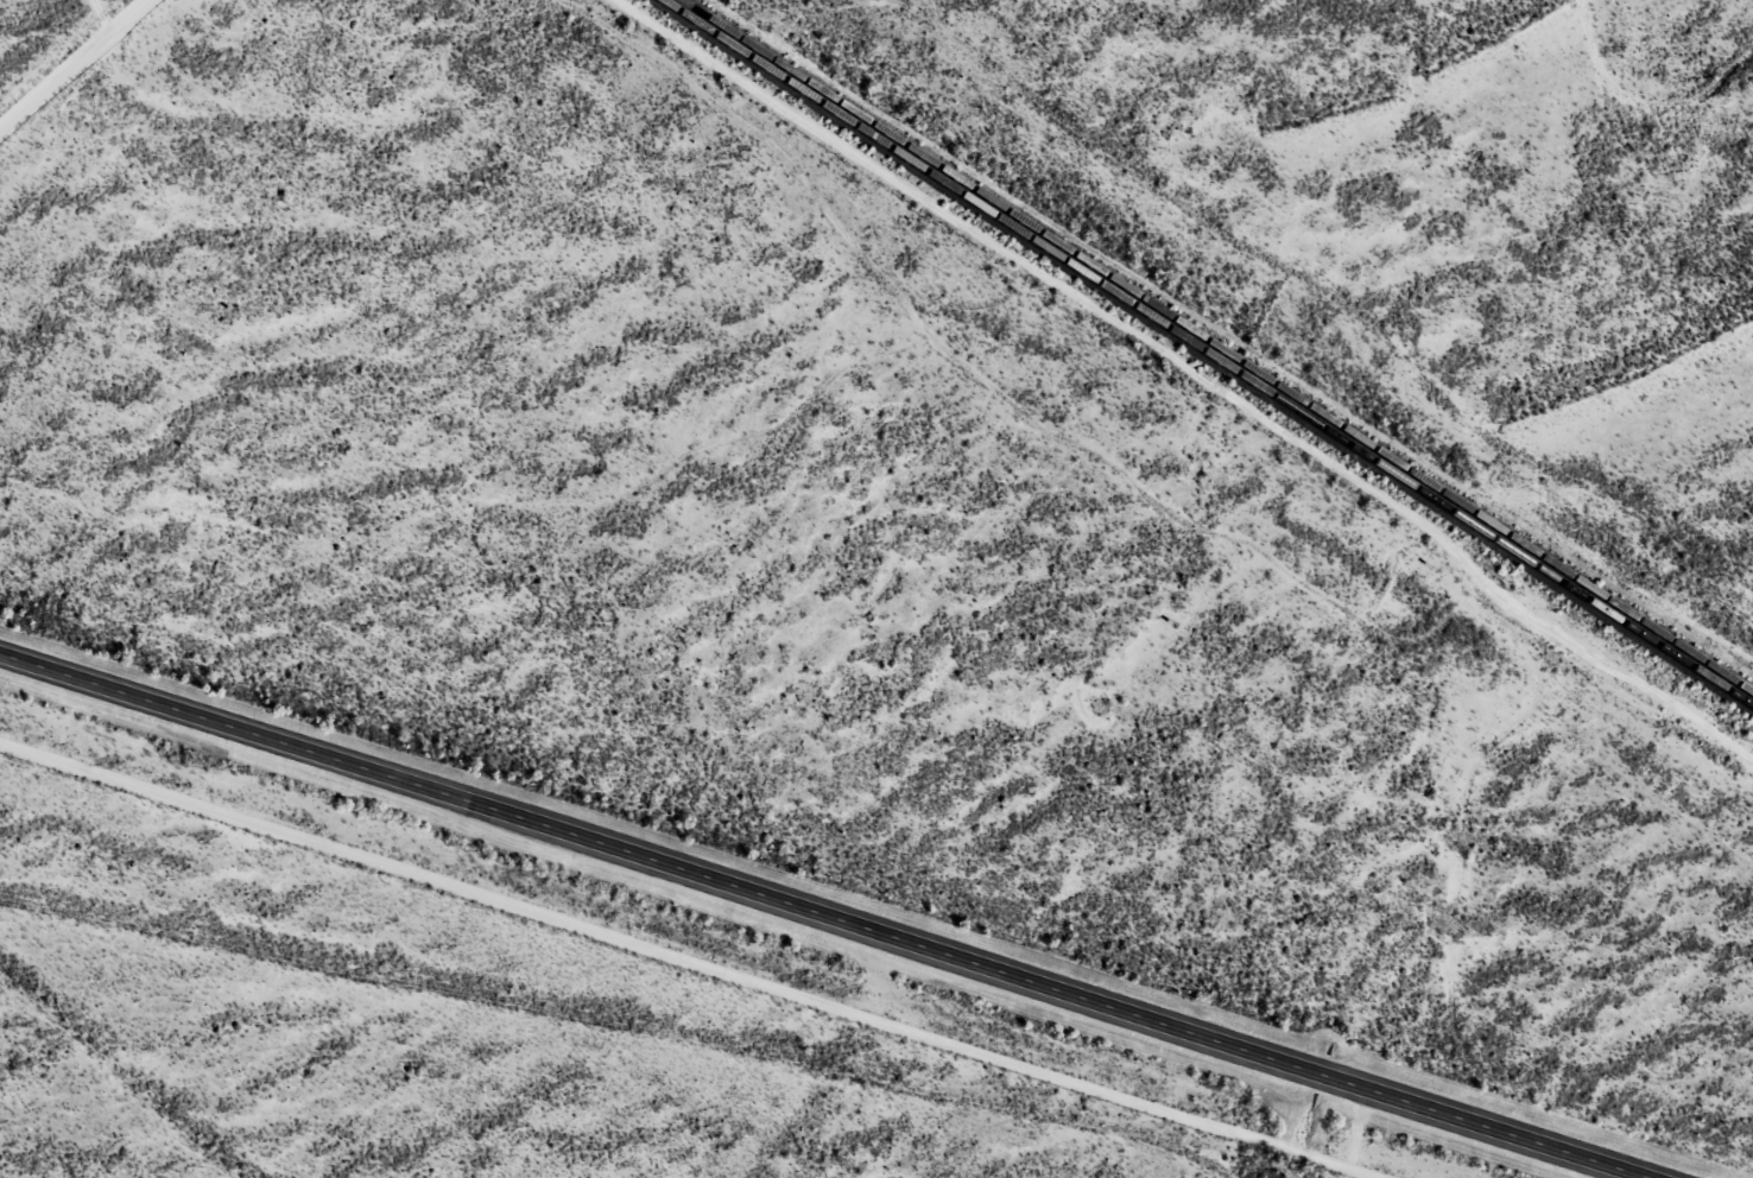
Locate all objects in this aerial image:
road: (102, 18)
road: (77, 65)
railway: (1215, 349)
railway: (1207, 357)
road: (833, 911)
road: (552, 1044)

